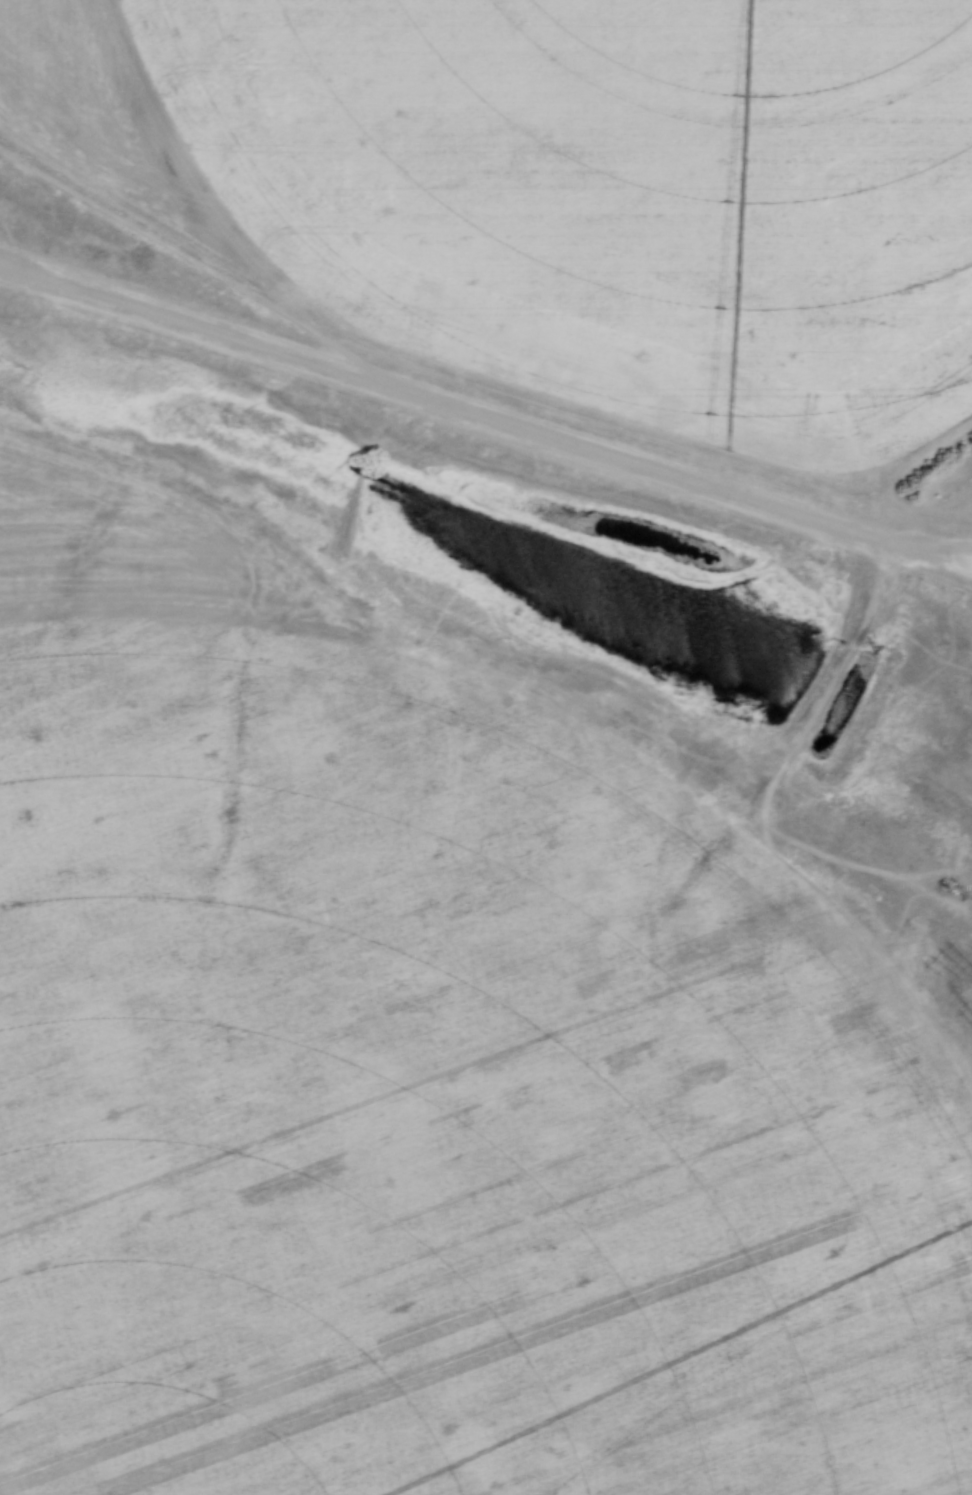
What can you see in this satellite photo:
crop: (563, 189)
road: (937, 549)
crop: (423, 1075)

